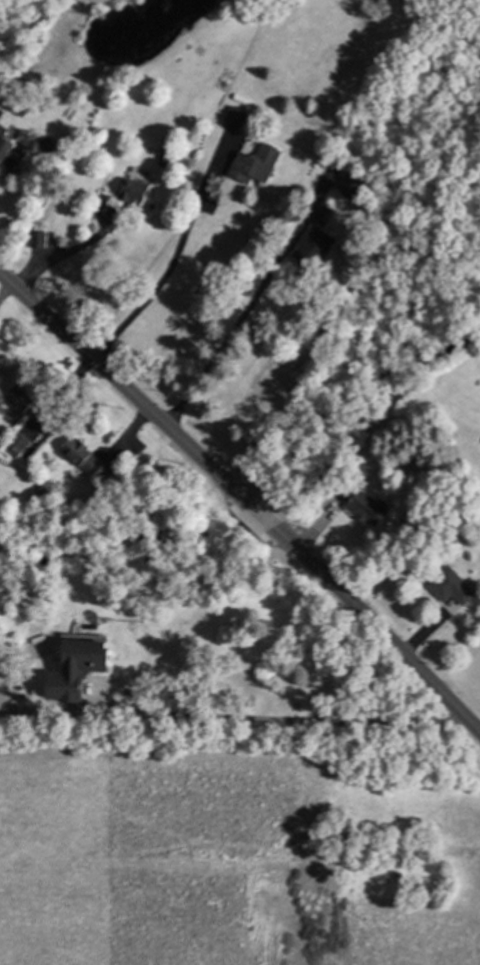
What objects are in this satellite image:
building: (23, 106)
building: (236, 117)
building: (172, 146)
building: (6, 151)
building: (166, 157)
building: (257, 163)
building: (352, 185)
building: (137, 190)
building: (365, 207)
building: (340, 208)
building: (40, 238)
building: (315, 248)
road: (67, 253)
road: (168, 271)
road: (215, 352)
building: (21, 398)
building: (18, 444)
building: (86, 458)
building: (465, 481)
building: (45, 486)
road: (244, 498)
building: (365, 505)
building: (453, 586)
building: (78, 668)
road: (274, 721)

